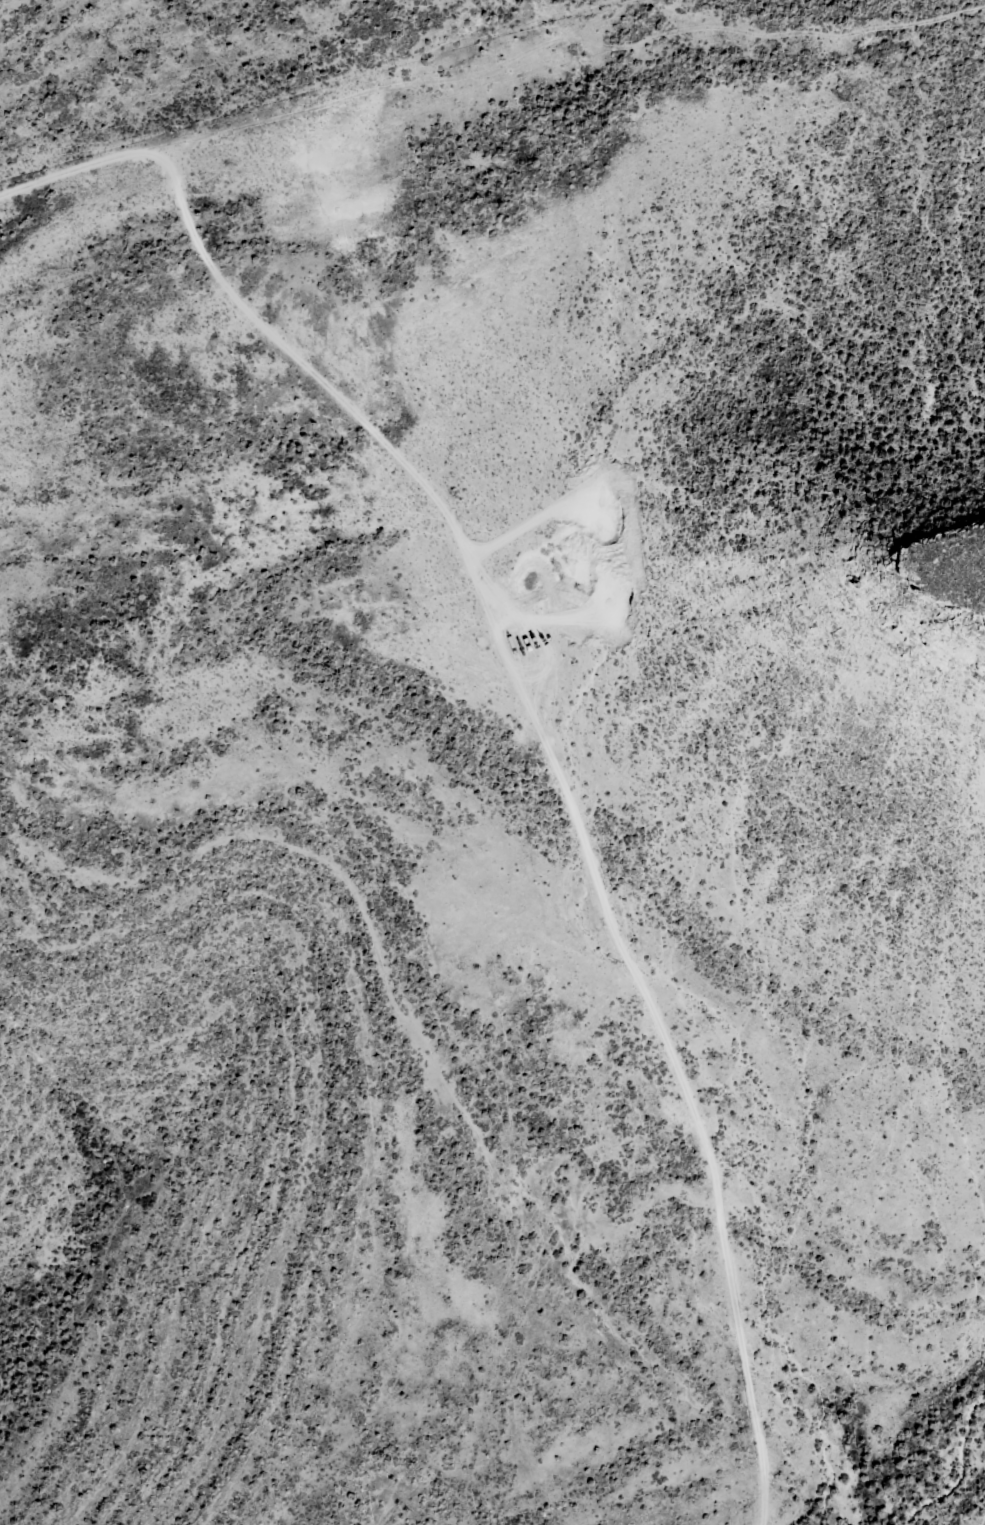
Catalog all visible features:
road: (979, 1516)

